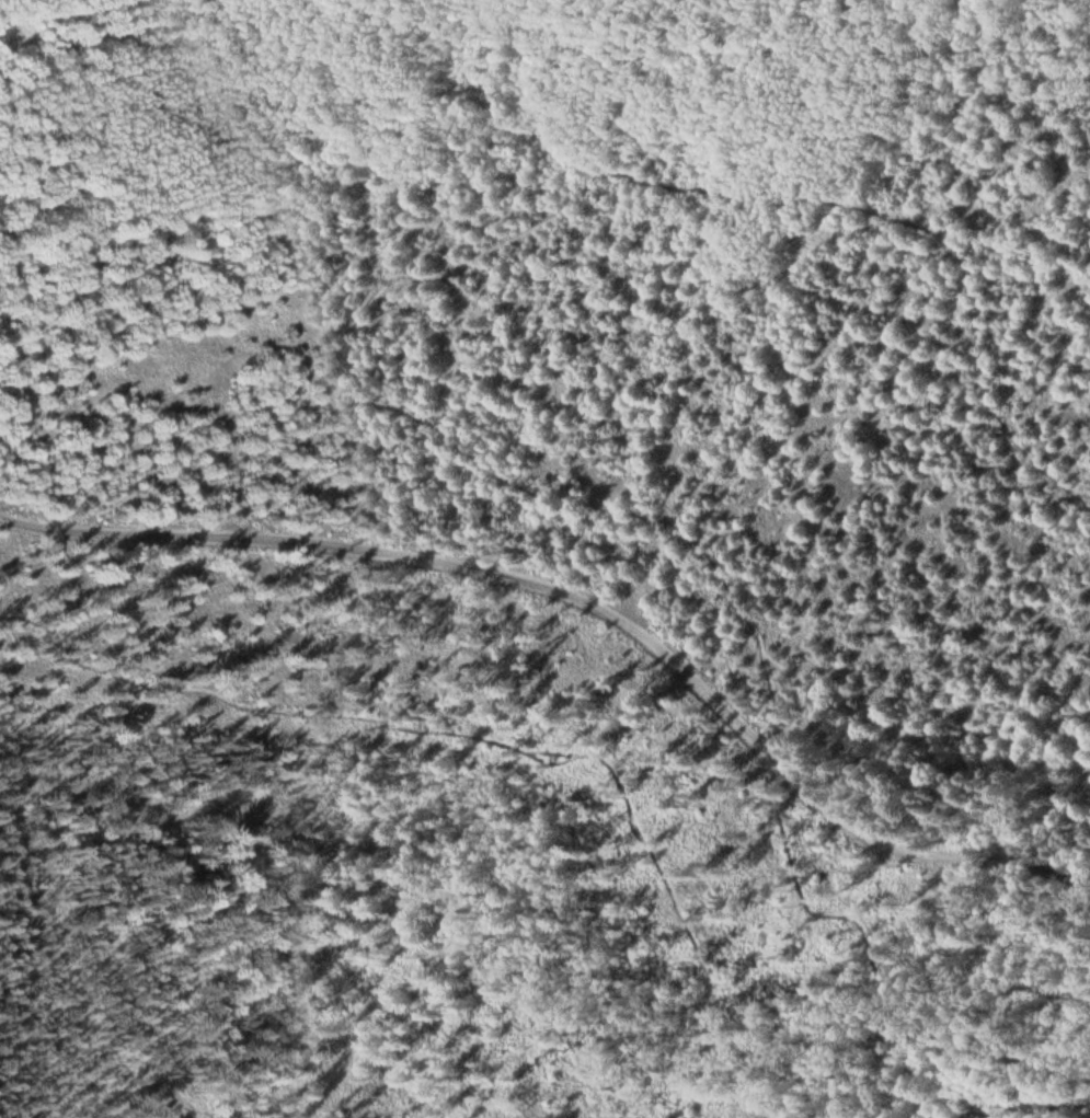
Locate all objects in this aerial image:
road: (416, 422)
road: (584, 600)
road: (490, 736)

